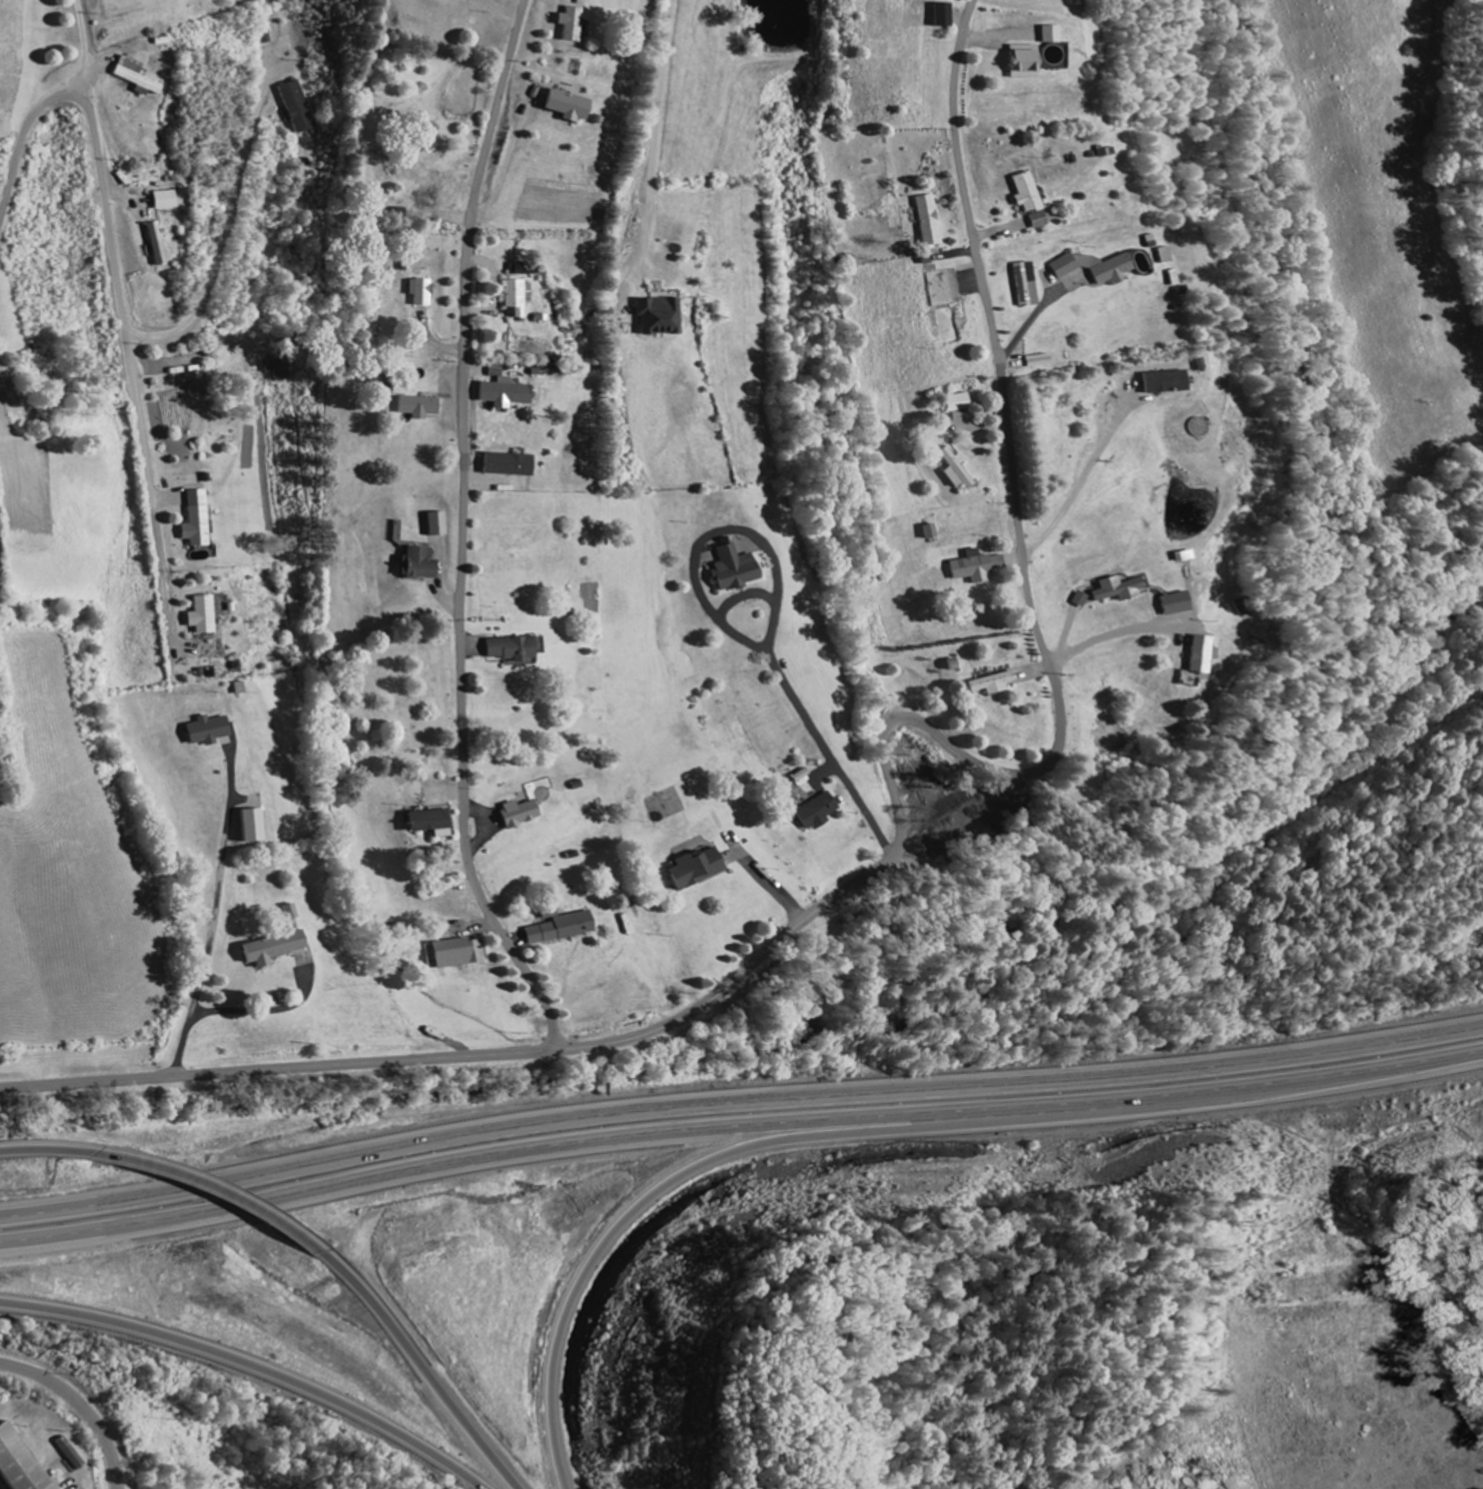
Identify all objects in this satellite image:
building: (946, 16)
building: (573, 26)
building: (1054, 36)
building: (1027, 61)
building: (138, 78)
building: (570, 107)
building: (299, 109)
building: (169, 201)
building: (1033, 201)
building: (932, 221)
building: (160, 245)
building: (1143, 264)
building: (1099, 268)
building: (1028, 289)
building: (424, 293)
building: (520, 299)
building: (666, 318)
building: (281, 370)
building: (498, 372)
building: (1168, 384)
building: (507, 395)
building: (961, 403)
building: (423, 408)
road: (727, 435)
building: (511, 466)
building: (959, 471)
building: (201, 521)
building: (442, 525)
road: (465, 531)
building: (934, 533)
road: (1022, 541)
building: (424, 565)
building: (976, 569)
building: (739, 571)
building: (1127, 591)
building: (1182, 605)
building: (207, 617)
building: (519, 651)
building: (1207, 656)
building: (998, 685)
road: (796, 697)
building: (212, 731)
building: (821, 812)
building: (524, 814)
building: (435, 823)
building: (703, 868)
road: (792, 927)
building: (563, 929)
road: (216, 932)
building: (283, 950)
building: (461, 953)
road: (356, 1062)
road: (739, 1096)
road: (739, 1131)
road: (53, 1148)
road: (217, 1187)
road: (602, 1249)
road: (252, 1366)
road: (415, 1366)
road: (80, 1406)
building: (70, 1454)
building: (21, 1462)

